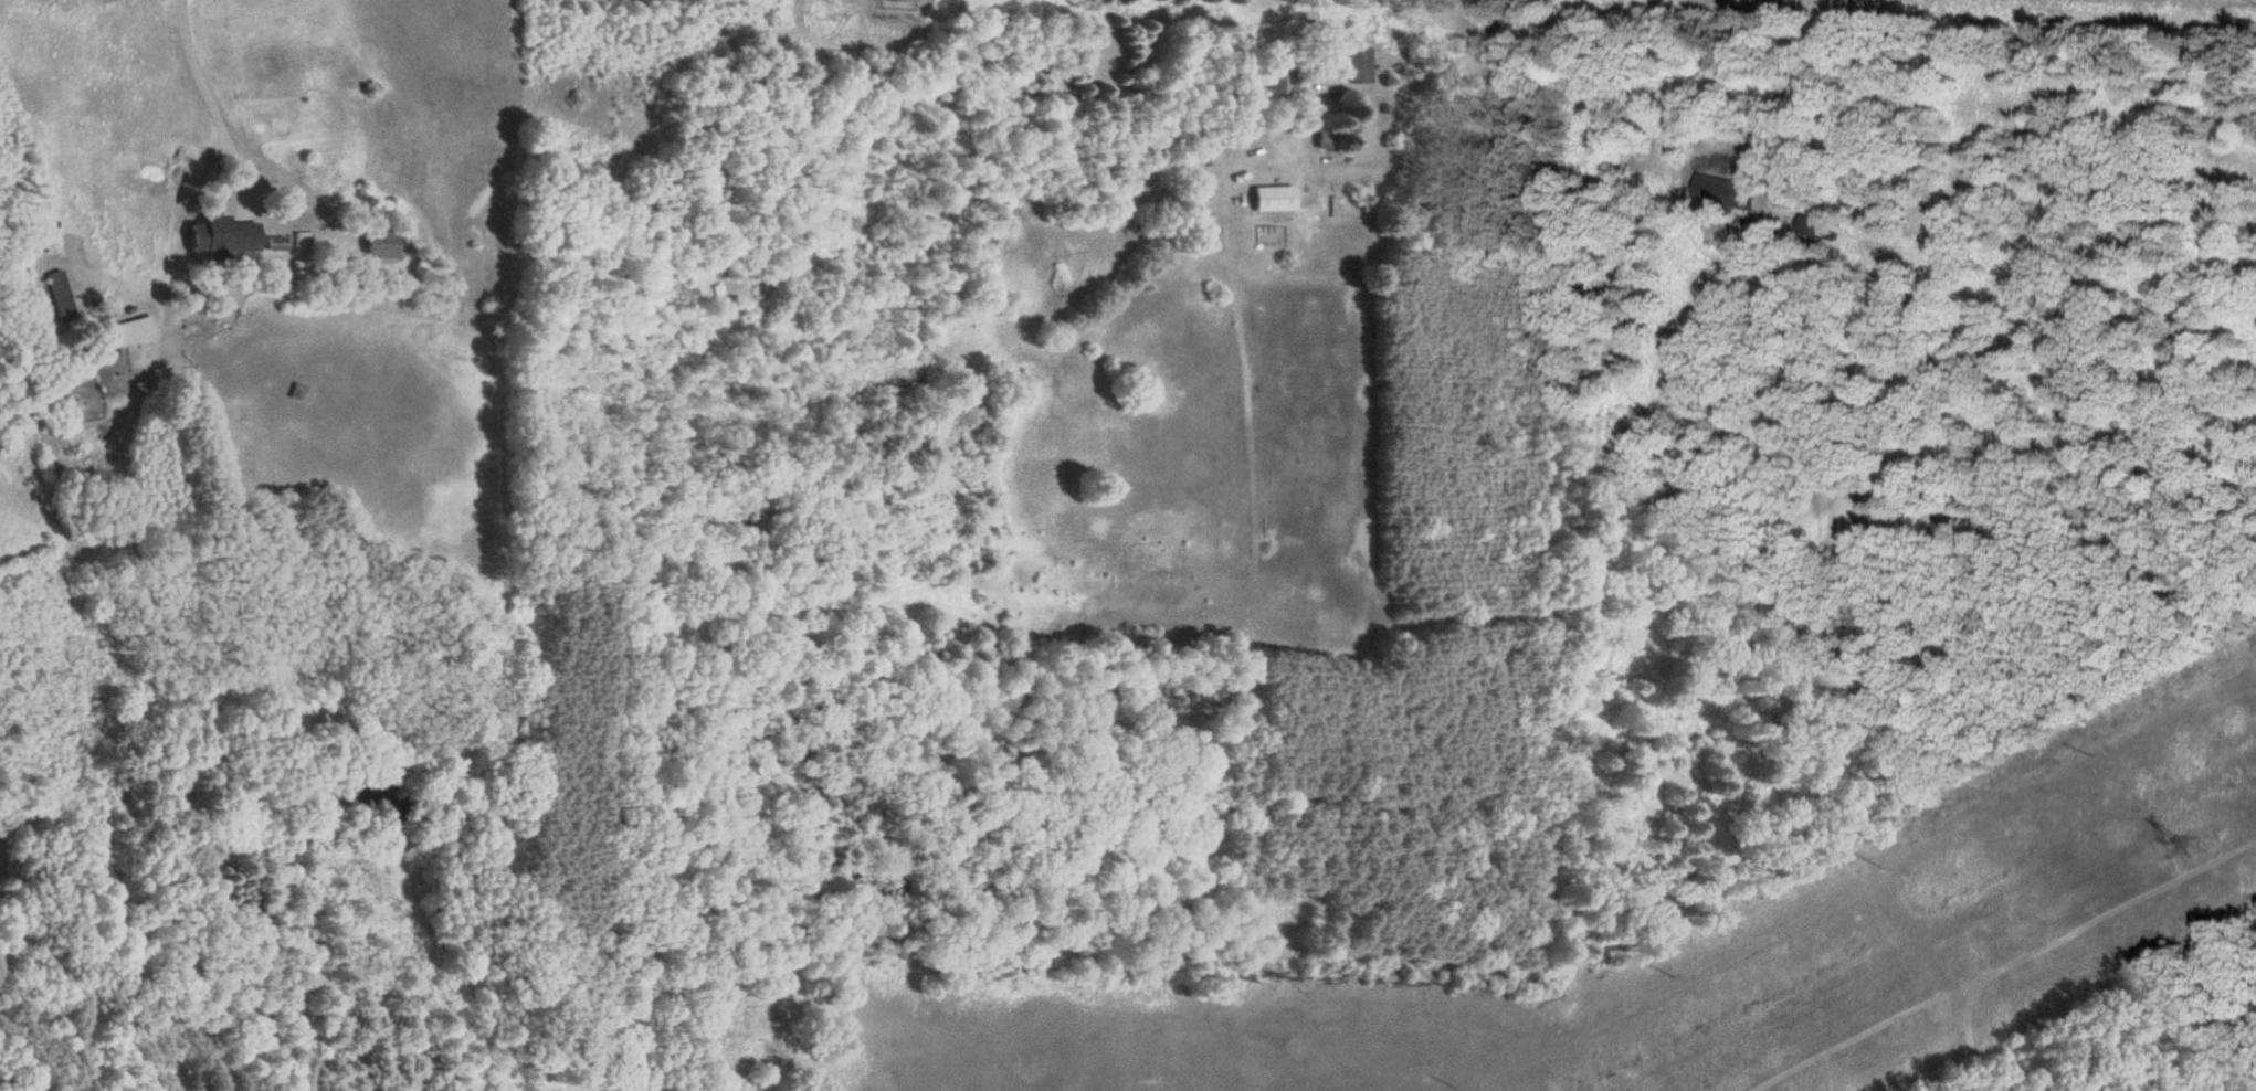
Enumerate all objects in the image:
building: (1354, 66)
building: (1282, 82)
building: (1264, 199)
building: (224, 235)
building: (278, 245)
building: (303, 271)
building: (60, 293)
power tower: (2195, 848)

